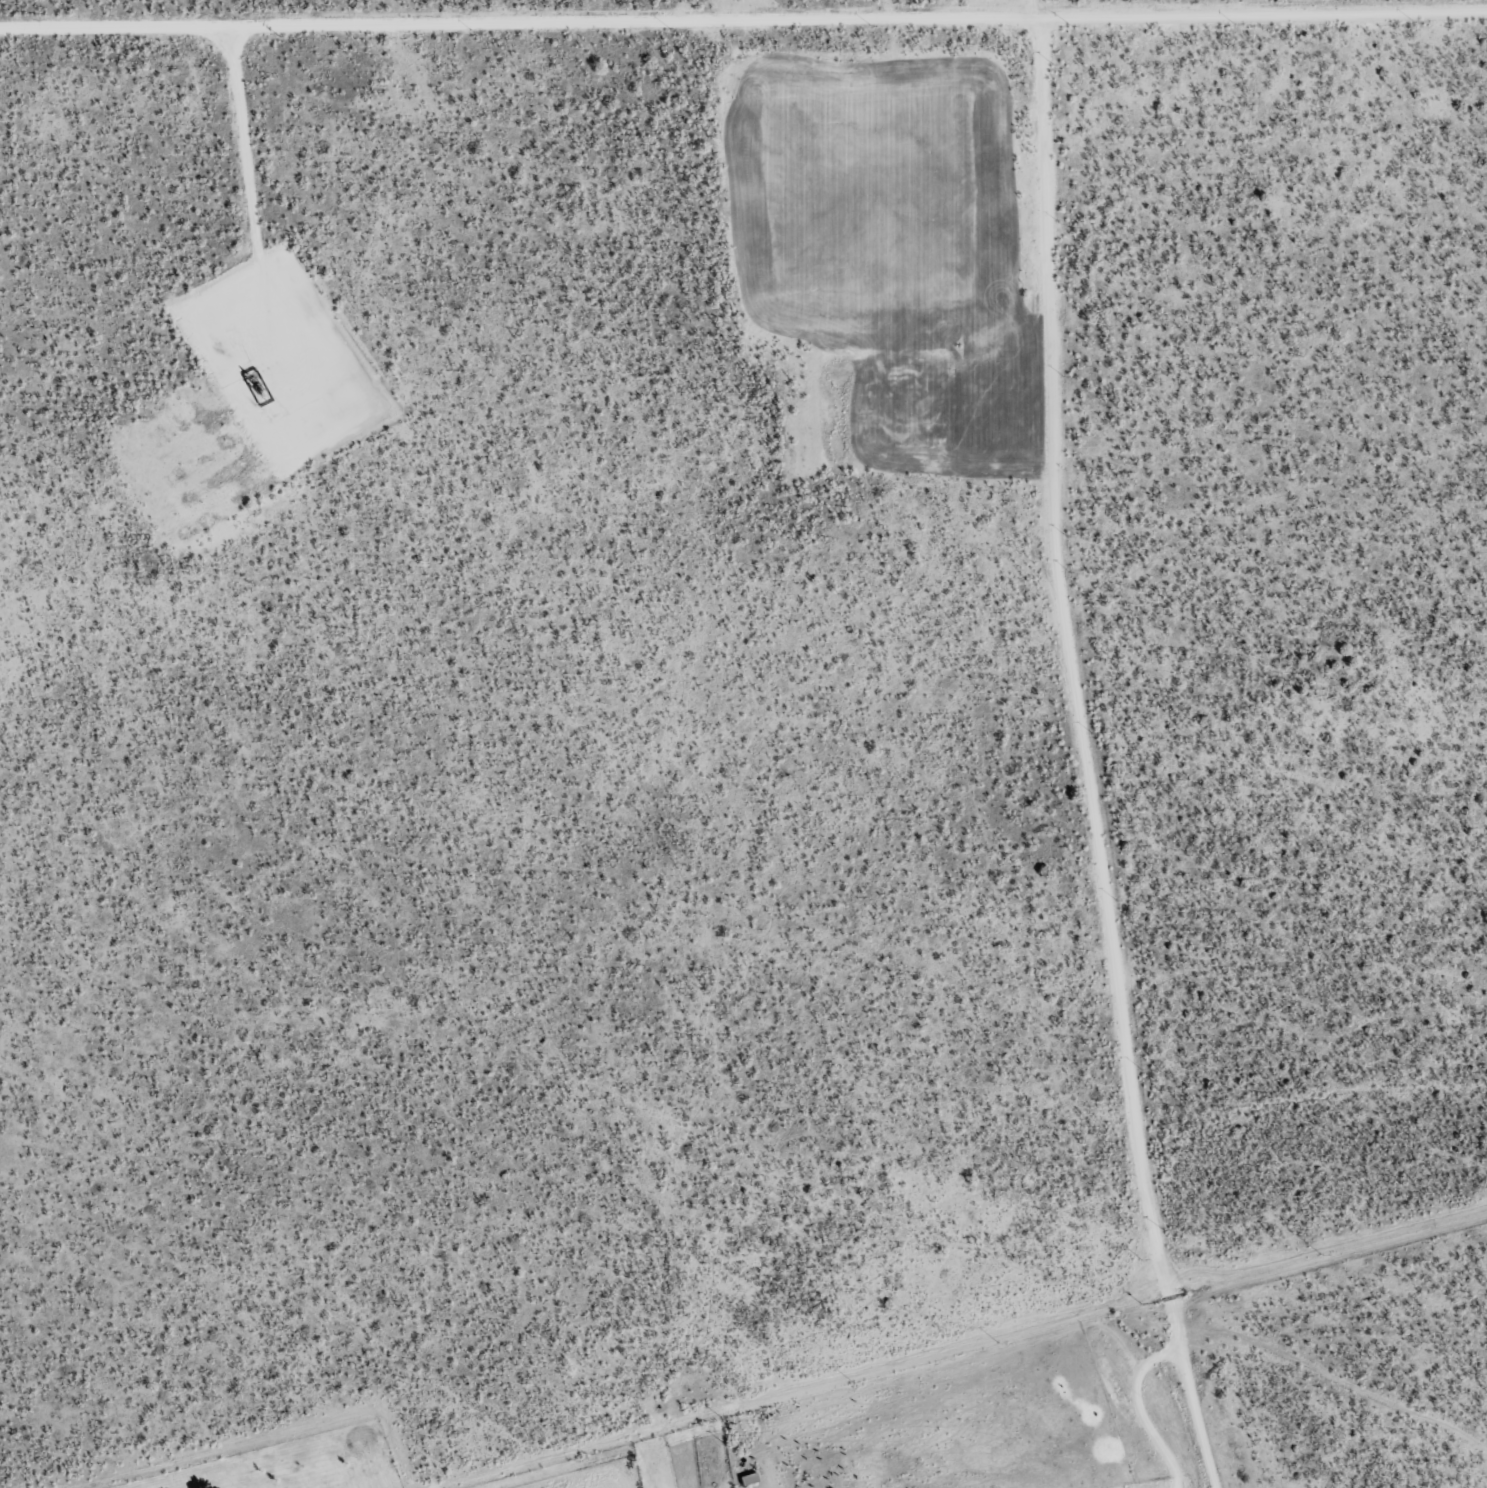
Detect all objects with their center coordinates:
building: (751, 1479)

